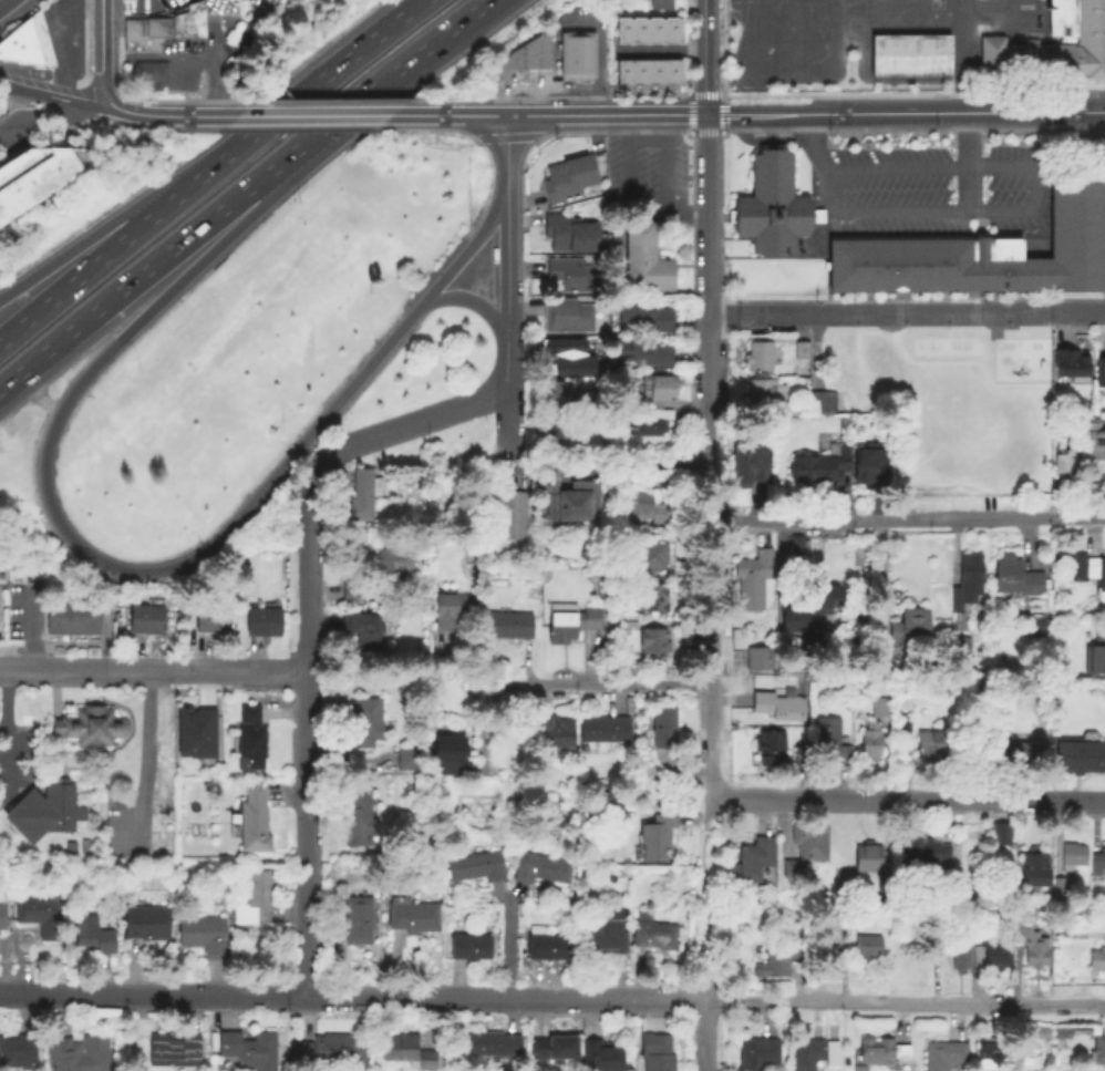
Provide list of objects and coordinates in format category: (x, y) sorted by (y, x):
building: (659, 3)
building: (194, 9)
road: (469, 12)
building: (177, 22)
building: (131, 25)
building: (155, 25)
building: (194, 27)
building: (621, 29)
building: (638, 30)
building: (654, 30)
building: (671, 30)
building: (137, 42)
road: (53, 43)
building: (27, 44)
building: (1054, 45)
road: (598, 47)
road: (659, 50)
building: (575, 53)
road: (184, 55)
road: (703, 55)
road: (96, 56)
building: (521, 56)
building: (910, 56)
building: (621, 71)
building: (638, 71)
building: (654, 71)
building: (671, 71)
building: (148, 72)
road: (535, 84)
road: (31, 92)
road: (364, 92)
road: (535, 99)
road: (290, 103)
road: (87, 104)
road: (903, 111)
road: (347, 113)
road: (545, 113)
road: (172, 114)
road: (268, 114)
road: (38, 121)
road: (507, 146)
road: (964, 162)
road: (663, 164)
building: (569, 176)
building: (40, 181)
road: (626, 200)
building: (770, 205)
road: (1004, 214)
road: (704, 224)
building: (568, 231)
road: (78, 246)
building: (808, 247)
building: (984, 250)
building: (646, 261)
road: (508, 265)
road: (137, 274)
building: (571, 274)
road: (81, 275)
road: (476, 302)
road: (1077, 312)
building: (646, 313)
road: (929, 313)
building: (568, 315)
road: (757, 315)
building: (560, 346)
building: (802, 348)
building: (642, 351)
building: (760, 354)
building: (570, 363)
building: (1071, 365)
building: (1101, 373)
building: (555, 390)
building: (654, 391)
building: (765, 391)
road: (509, 402)
building: (822, 402)
road: (422, 421)
building: (649, 423)
building: (1091, 424)
road: (706, 428)
building: (551, 429)
building: (1097, 445)
building: (750, 462)
building: (1066, 463)
building: (820, 465)
building: (870, 465)
building: (363, 493)
building: (577, 503)
building: (649, 507)
building: (506, 513)
road: (906, 519)
building: (798, 543)
building: (651, 556)
building: (393, 562)
building: (1080, 566)
road: (138, 573)
building: (1006, 575)
building: (1097, 575)
building: (755, 579)
building: (968, 580)
building: (349, 594)
building: (652, 600)
building: (810, 606)
building: (445, 611)
building: (71, 612)
building: (143, 615)
building: (209, 619)
building: (570, 620)
building: (1037, 624)
building: (261, 625)
building: (508, 626)
building: (630, 627)
building: (909, 629)
building: (360, 631)
building: (814, 642)
building: (654, 643)
building: (963, 643)
building: (1095, 656)
building: (758, 660)
building: (880, 665)
road: (155, 670)
road: (708, 679)
road: (616, 684)
building: (776, 700)
building: (878, 703)
building: (362, 717)
building: (661, 723)
building: (89, 724)
building: (603, 727)
road: (3, 731)
building: (200, 731)
building: (247, 731)
building: (552, 731)
road: (310, 732)
building: (830, 738)
building: (871, 740)
building: (929, 740)
building: (767, 743)
building: (443, 746)
building: (1080, 751)
building: (1009, 752)
building: (409, 755)
road: (143, 759)
road: (907, 799)
building: (44, 810)
building: (359, 815)
building: (250, 816)
building: (1003, 832)
building: (654, 833)
building: (808, 838)
building: (919, 846)
building: (1073, 854)
building: (866, 855)
building: (753, 858)
building: (1097, 858)
building: (477, 864)
building: (1032, 864)
building: (540, 865)
building: (791, 871)
building: (1062, 884)
building: (254, 893)
road: (704, 908)
building: (42, 913)
building: (412, 913)
building: (1, 914)
building: (359, 918)
building: (144, 920)
building: (90, 930)
building: (608, 930)
building: (652, 931)
building: (202, 934)
building: (938, 937)
building: (545, 939)
building: (868, 943)
building: (468, 944)
building: (1035, 947)
building: (960, 949)
building: (996, 949)
building: (777, 955)
building: (1097, 958)
road: (706, 990)
road: (353, 997)
road: (906, 1001)
building: (1037, 1031)
road: (704, 1034)
building: (490, 1043)
building: (555, 1044)
building: (247, 1047)
building: (172, 1048)
building: (327, 1048)
building: (881, 1048)
building: (1099, 1048)
building: (406, 1049)
building: (19, 1051)
building: (654, 1051)
building: (758, 1051)
building: (812, 1052)
building: (989, 1052)
building: (82, 1053)
building: (601, 1053)
building: (944, 1053)

